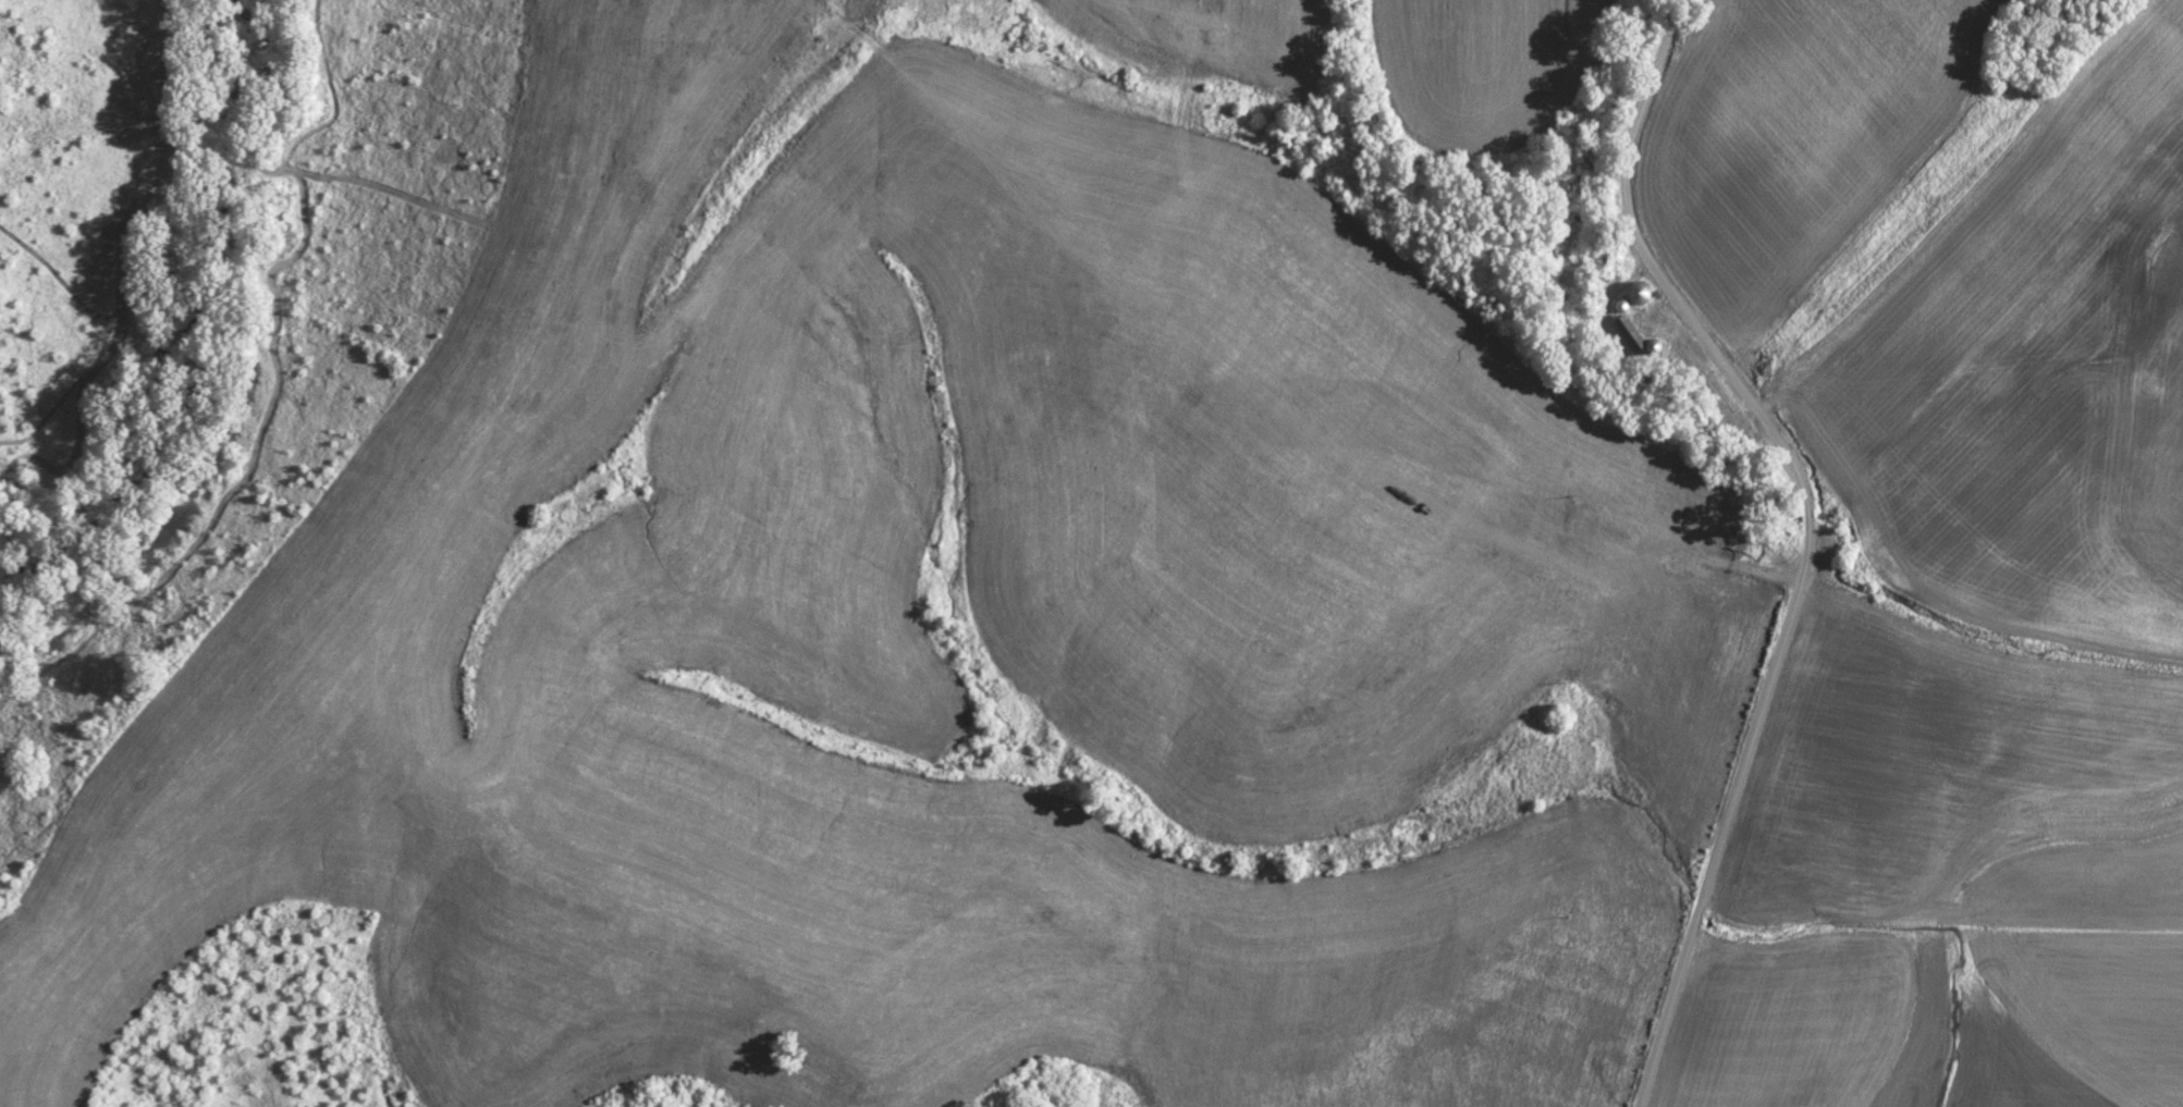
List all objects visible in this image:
building: (1631, 296)
building: (1645, 349)
road: (1810, 536)

